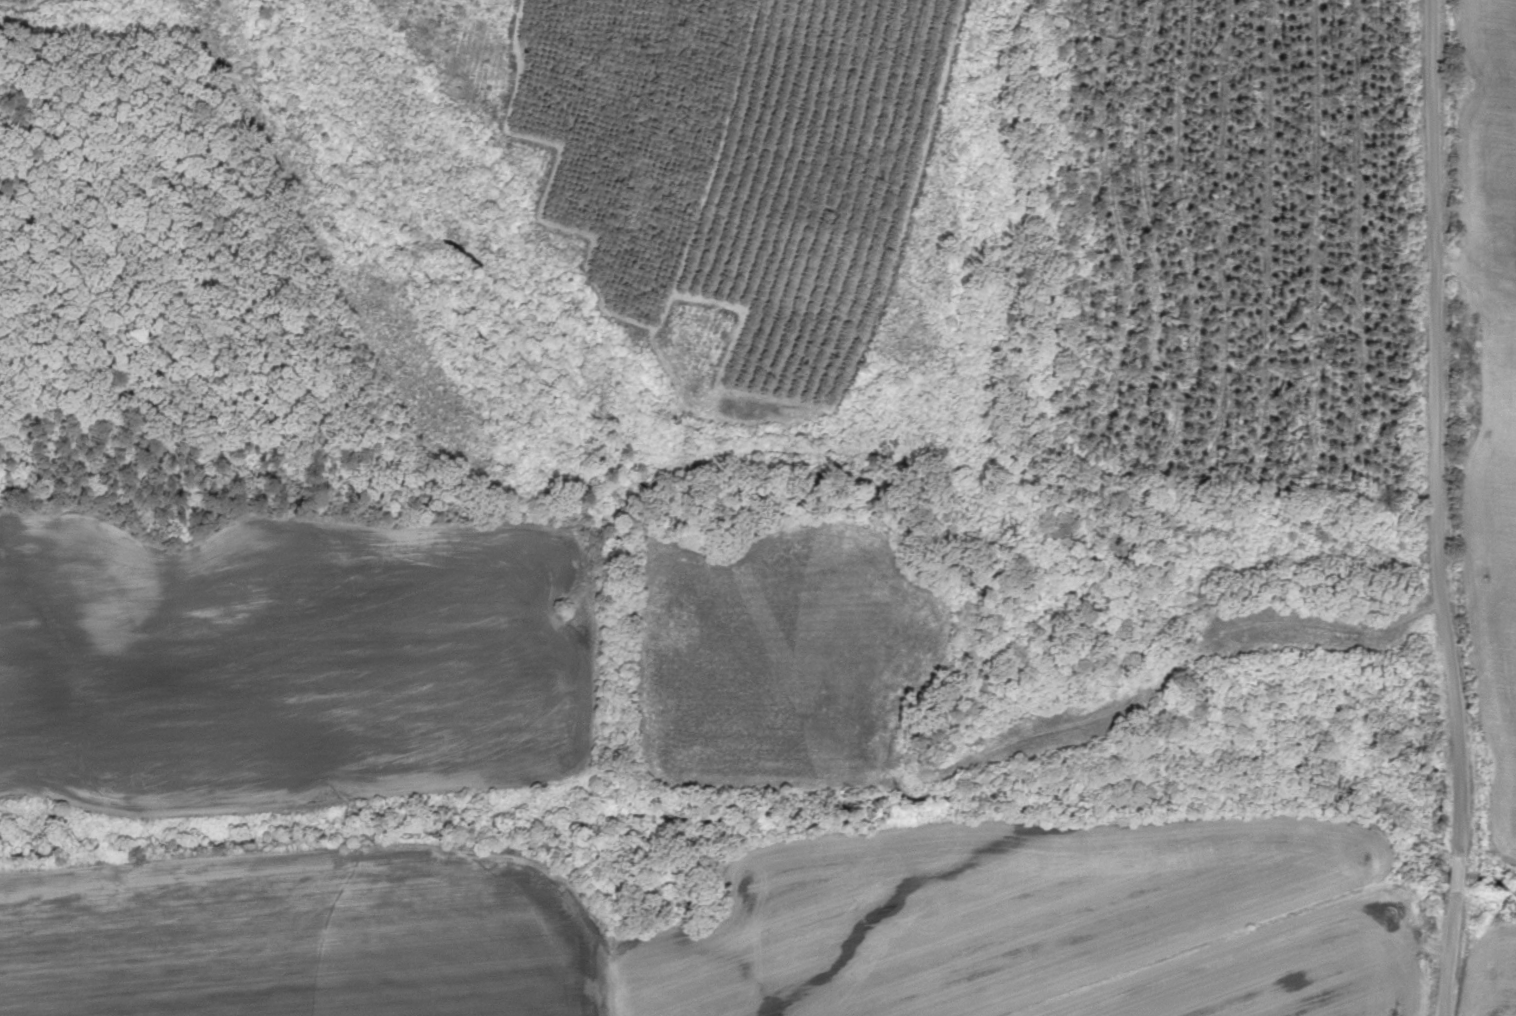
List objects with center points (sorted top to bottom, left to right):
road: (1431, 430)
road: (1451, 880)
road: (1444, 958)

